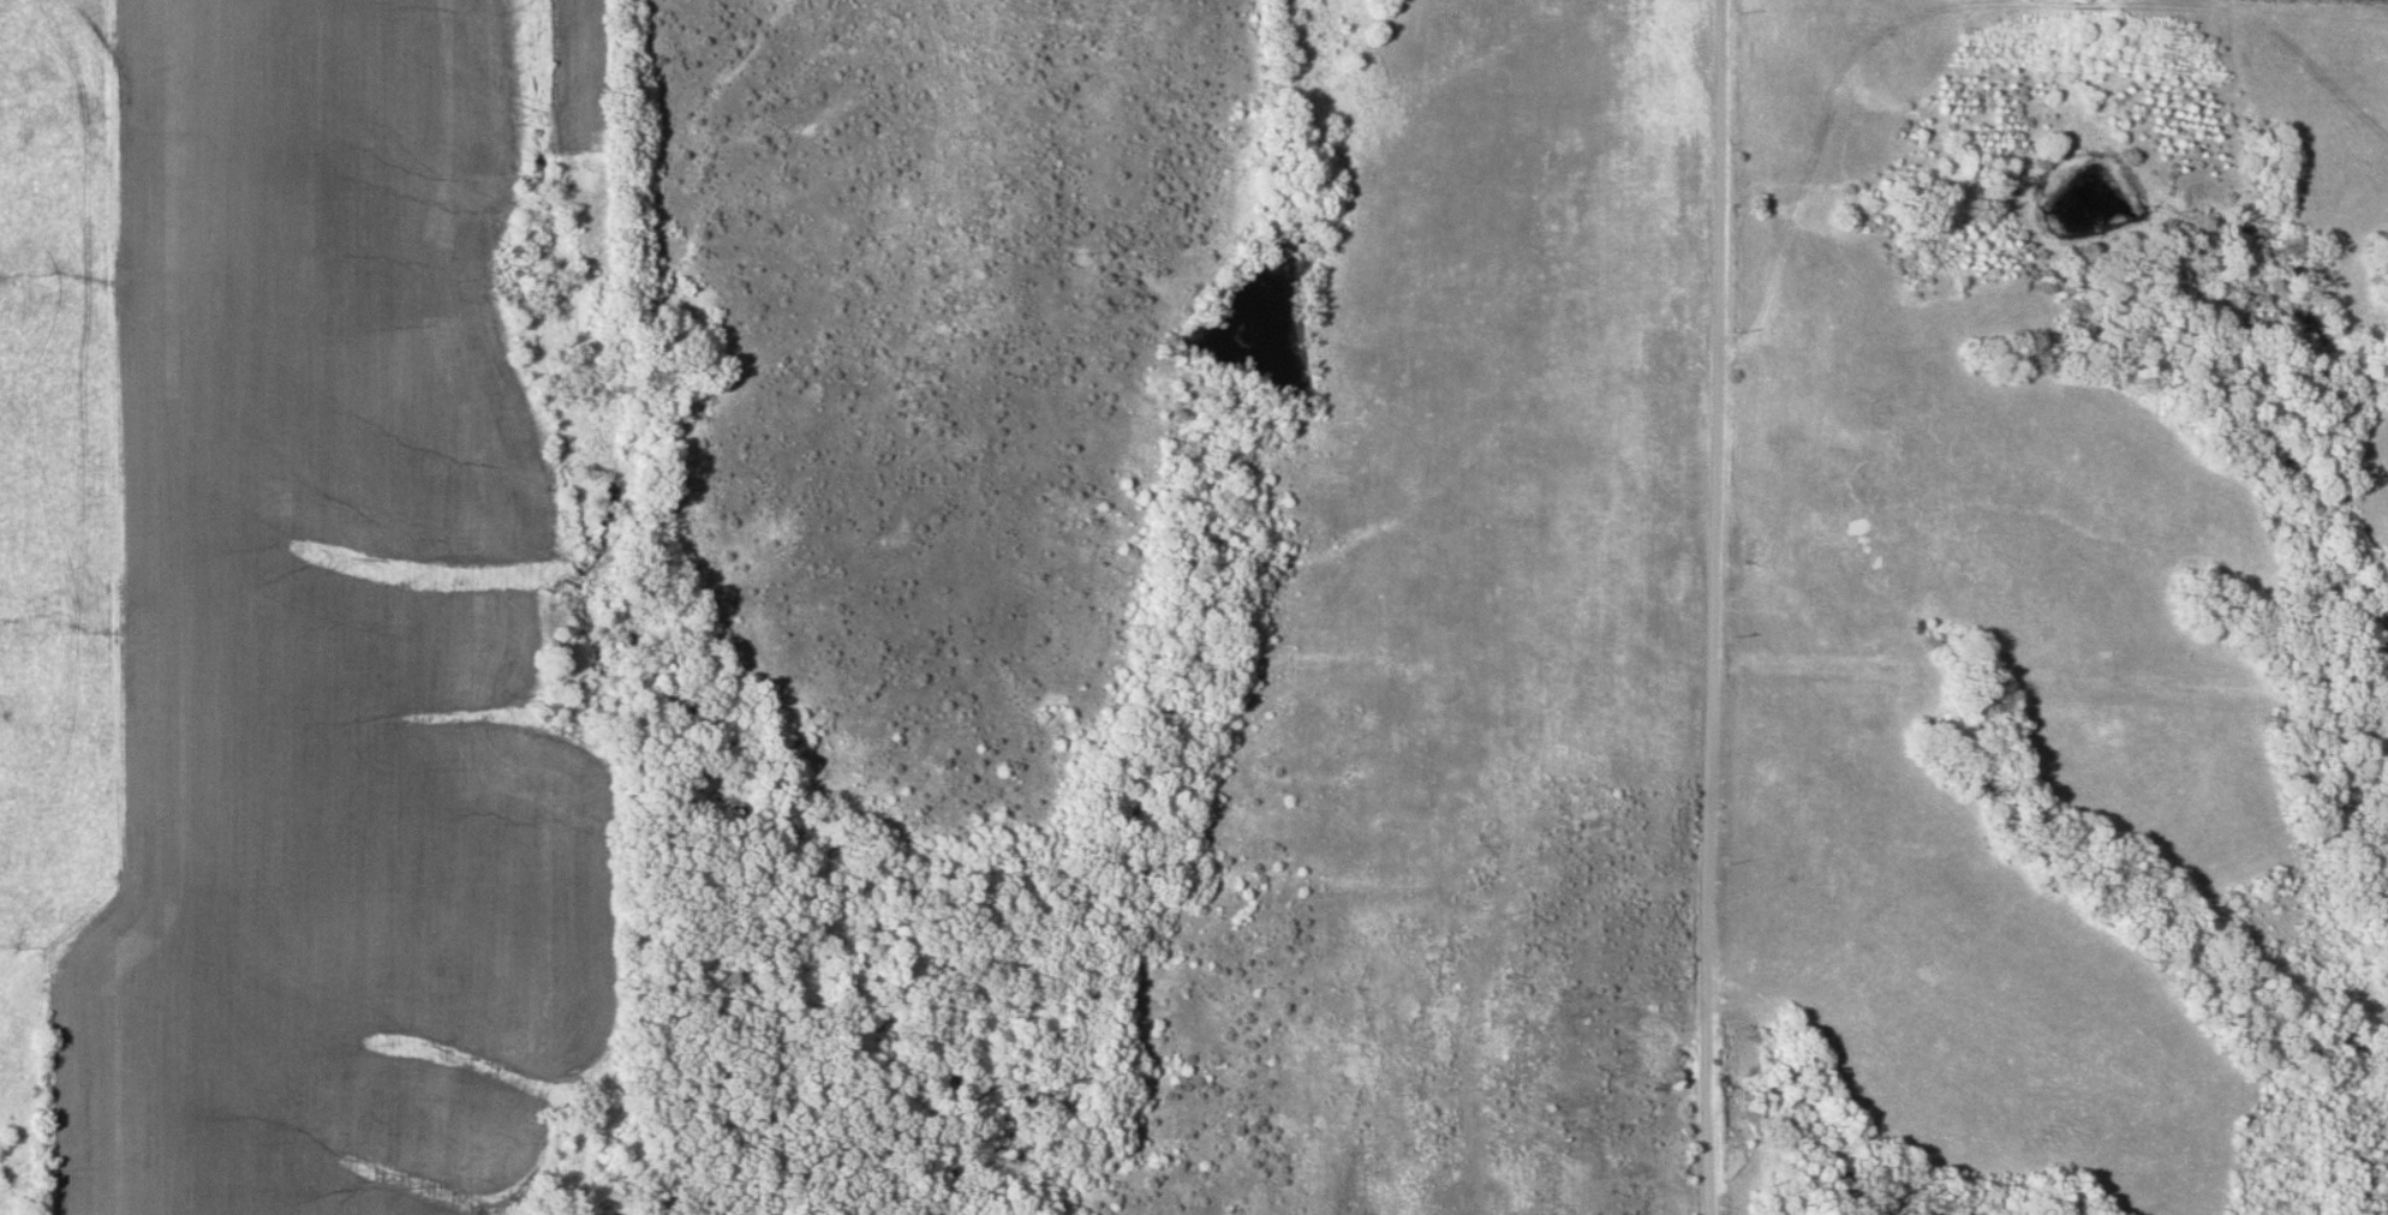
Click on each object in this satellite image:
road: (1714, 606)

